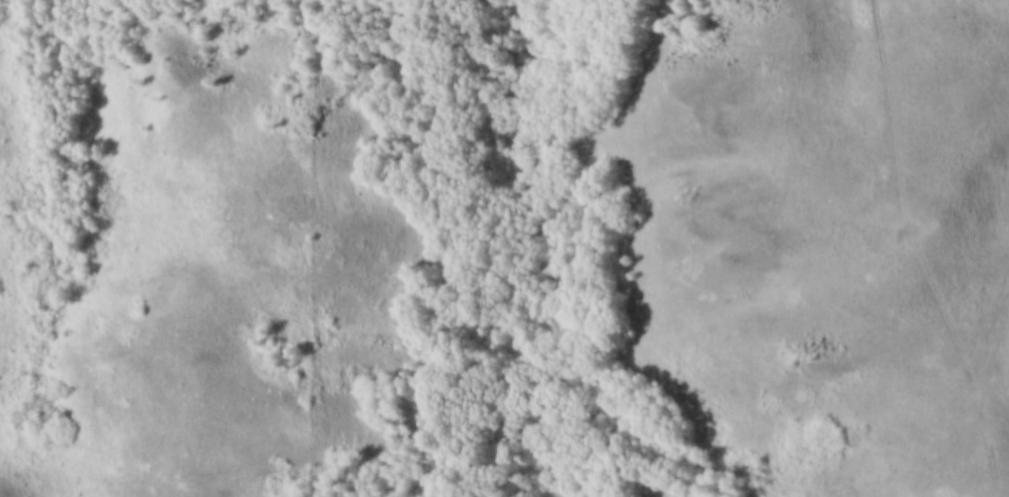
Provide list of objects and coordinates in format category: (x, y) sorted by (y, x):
road: (922, 245)

